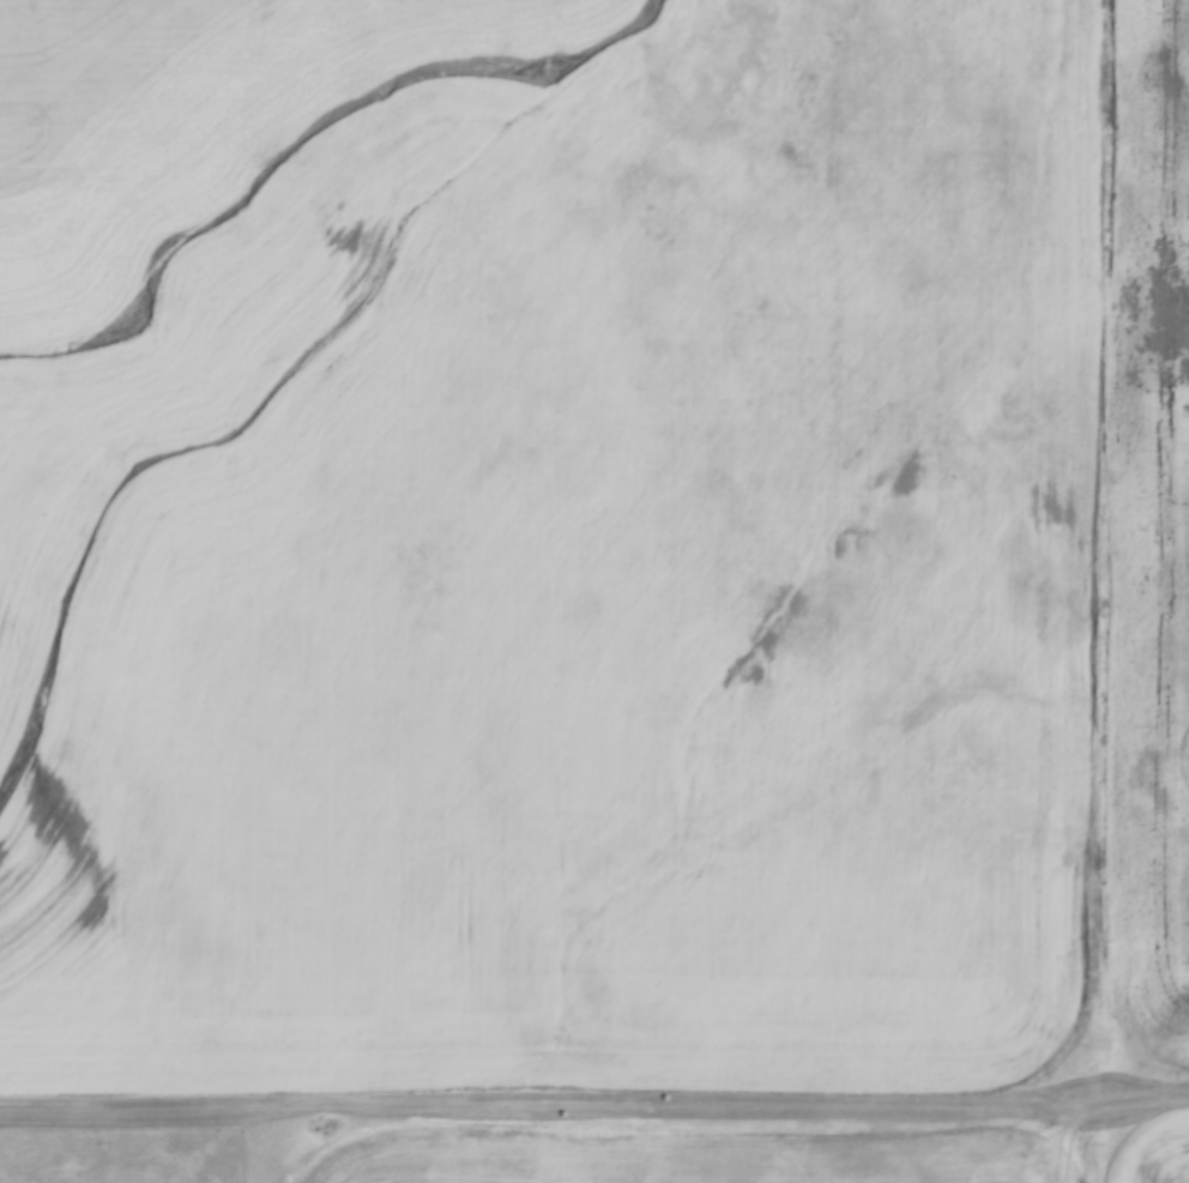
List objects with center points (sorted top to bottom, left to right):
road: (593, 1105)

